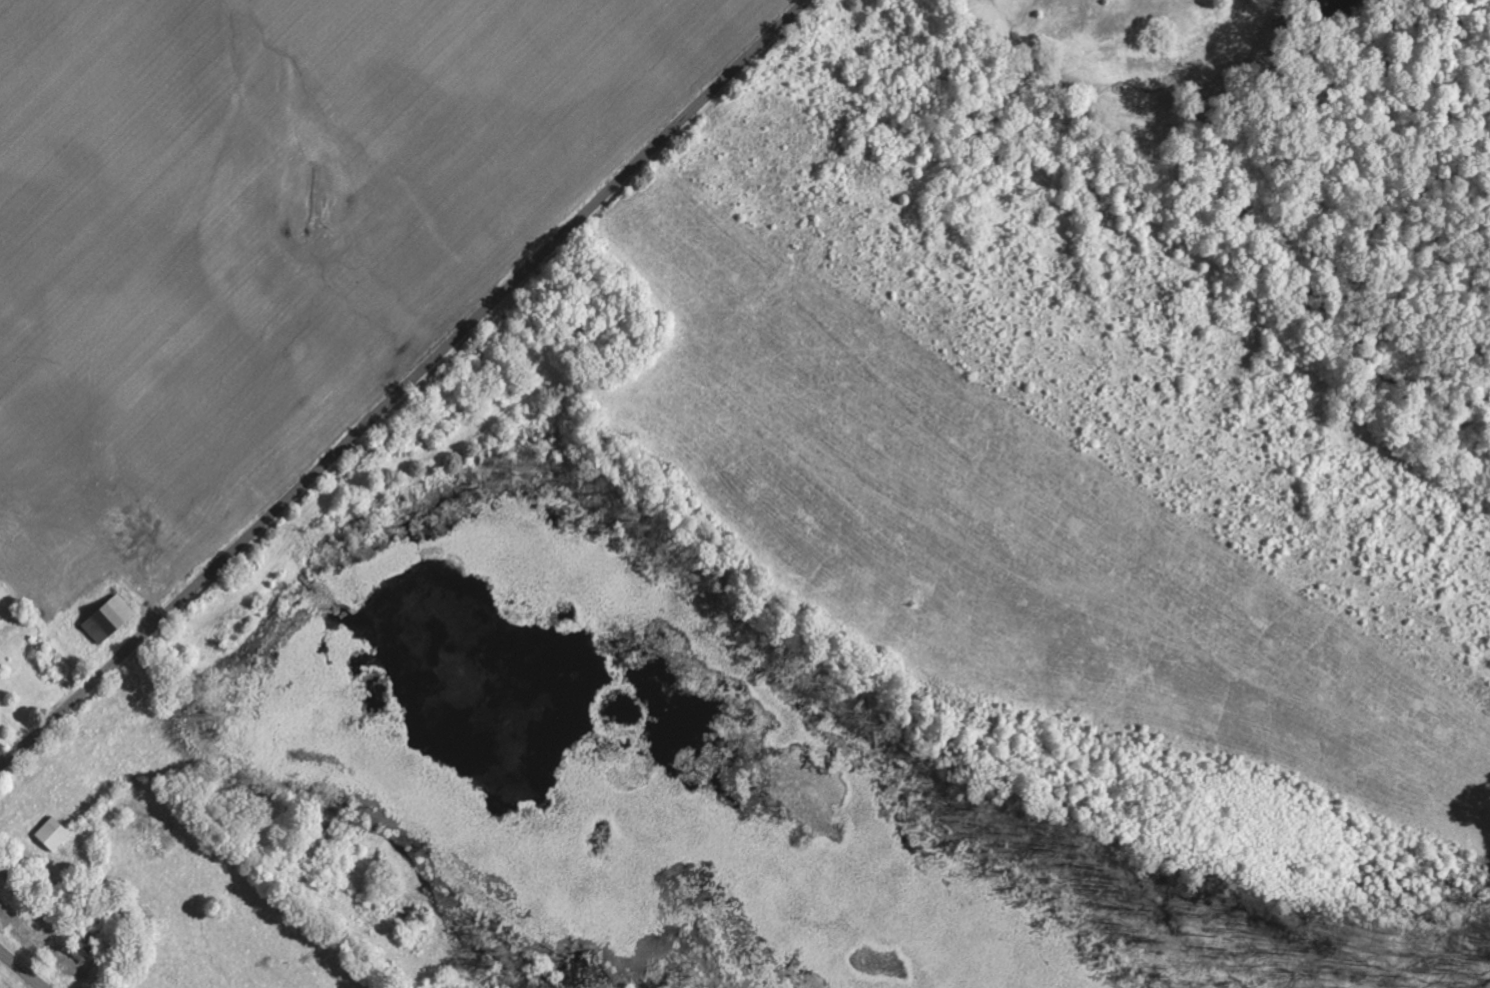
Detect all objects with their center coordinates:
road: (407, 387)
building: (112, 622)
building: (55, 835)
road: (22, 969)

